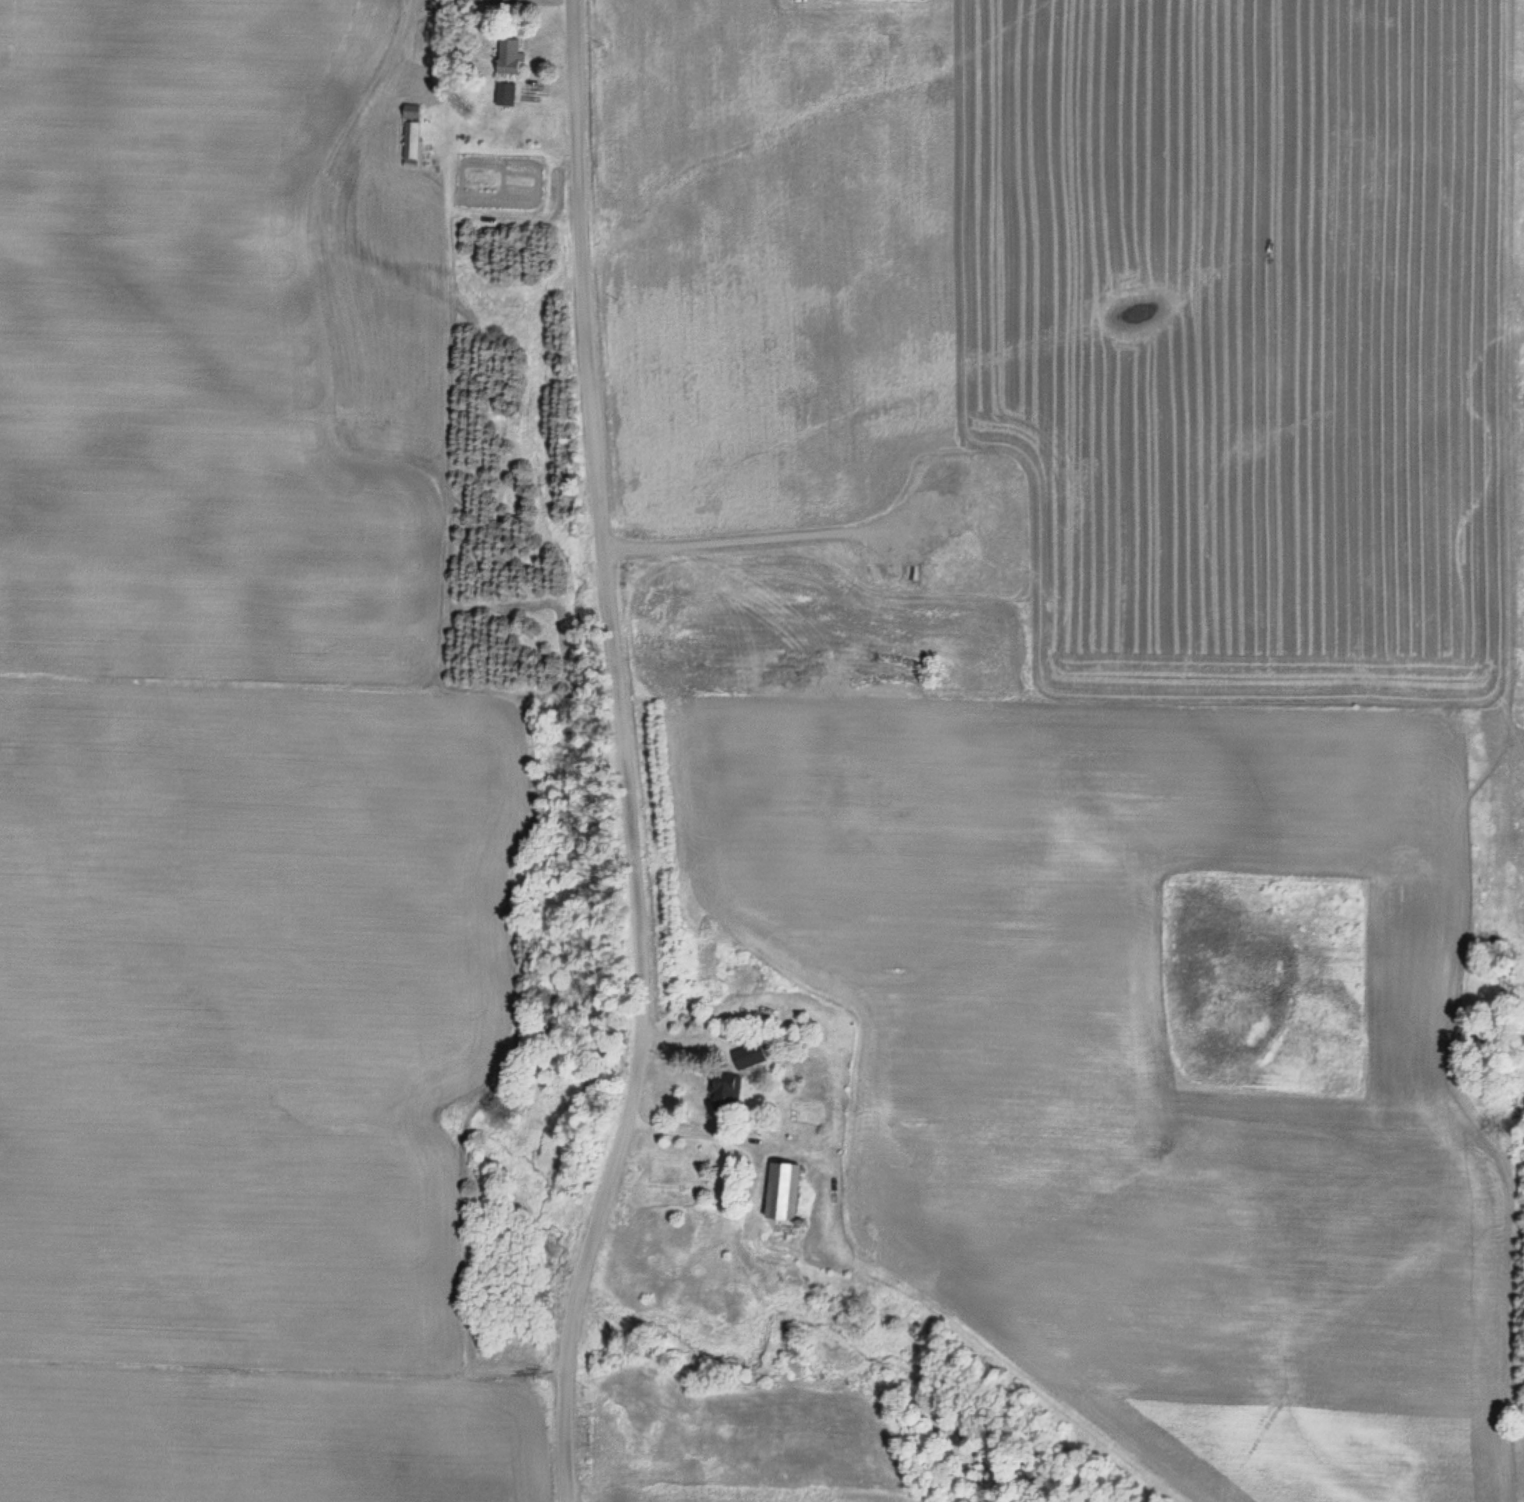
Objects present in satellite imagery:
building: (509, 58)
building: (504, 96)
road: (623, 754)
building: (773, 1019)
building: (753, 1055)
building: (725, 1090)
building: (781, 1191)

